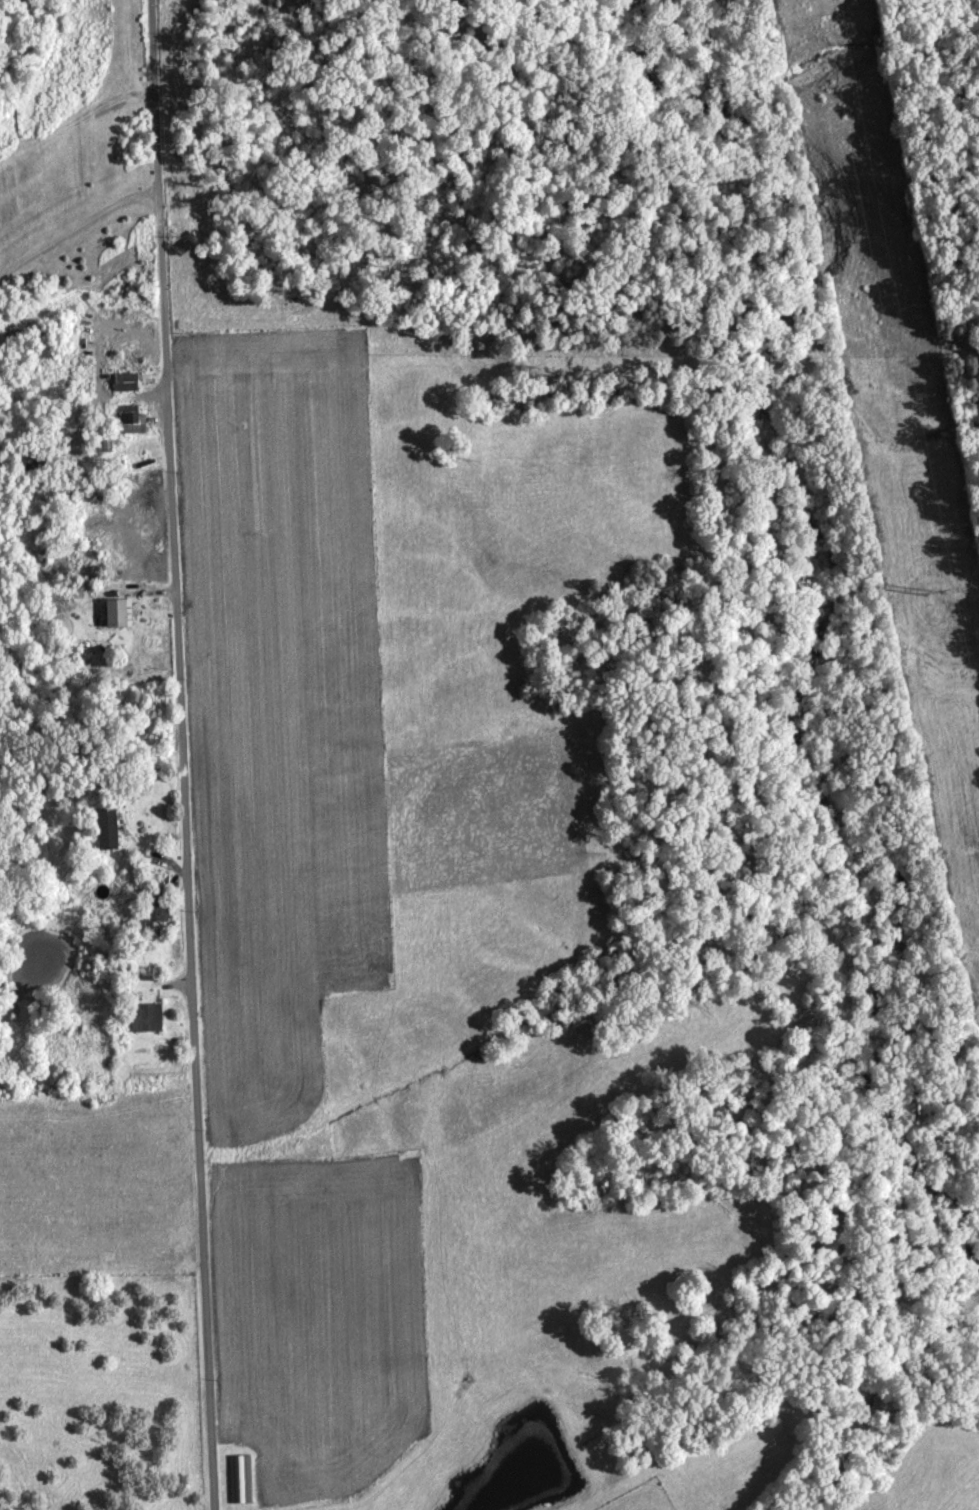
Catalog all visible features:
building: (129, 418)
power tower: (929, 593)
building: (119, 618)
road: (181, 754)
building: (99, 832)
building: (138, 1022)
building: (235, 1483)

